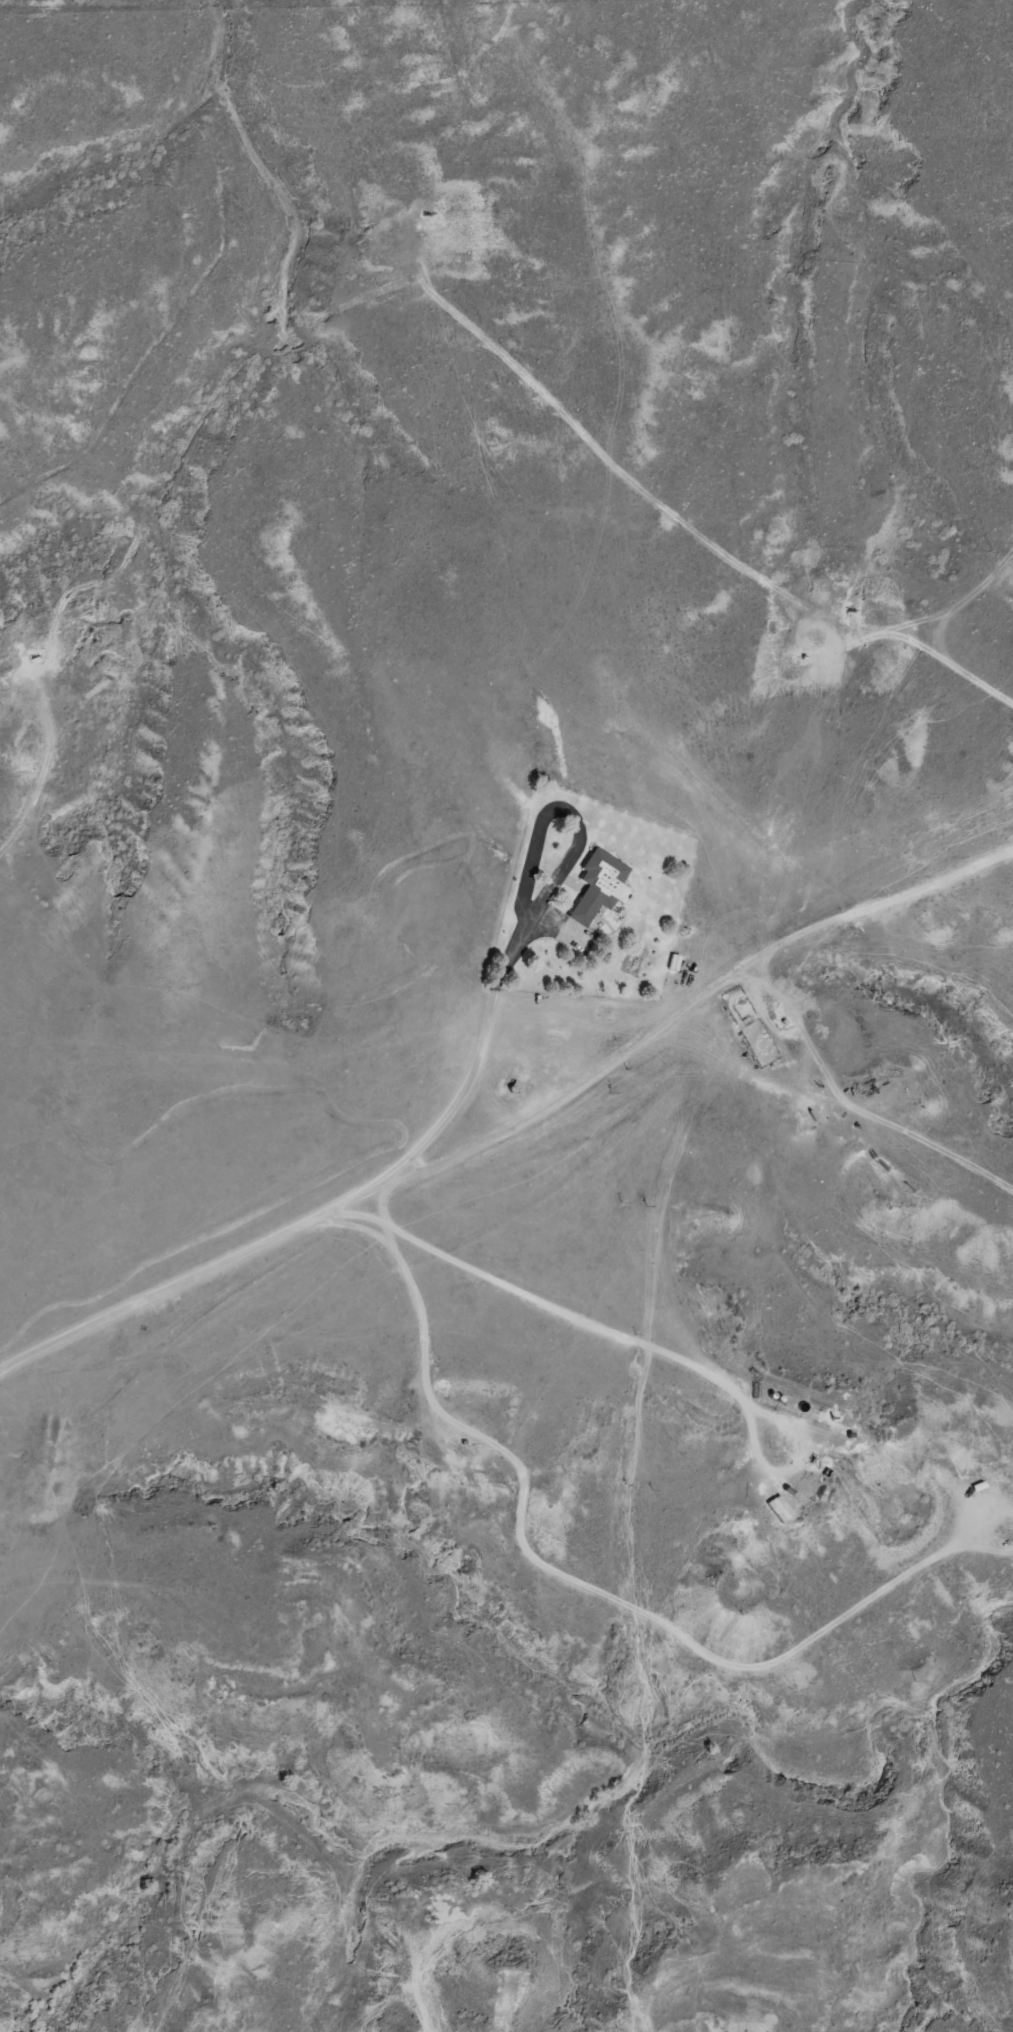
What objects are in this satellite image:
building: (603, 887)
road: (509, 1118)
building: (786, 1508)

